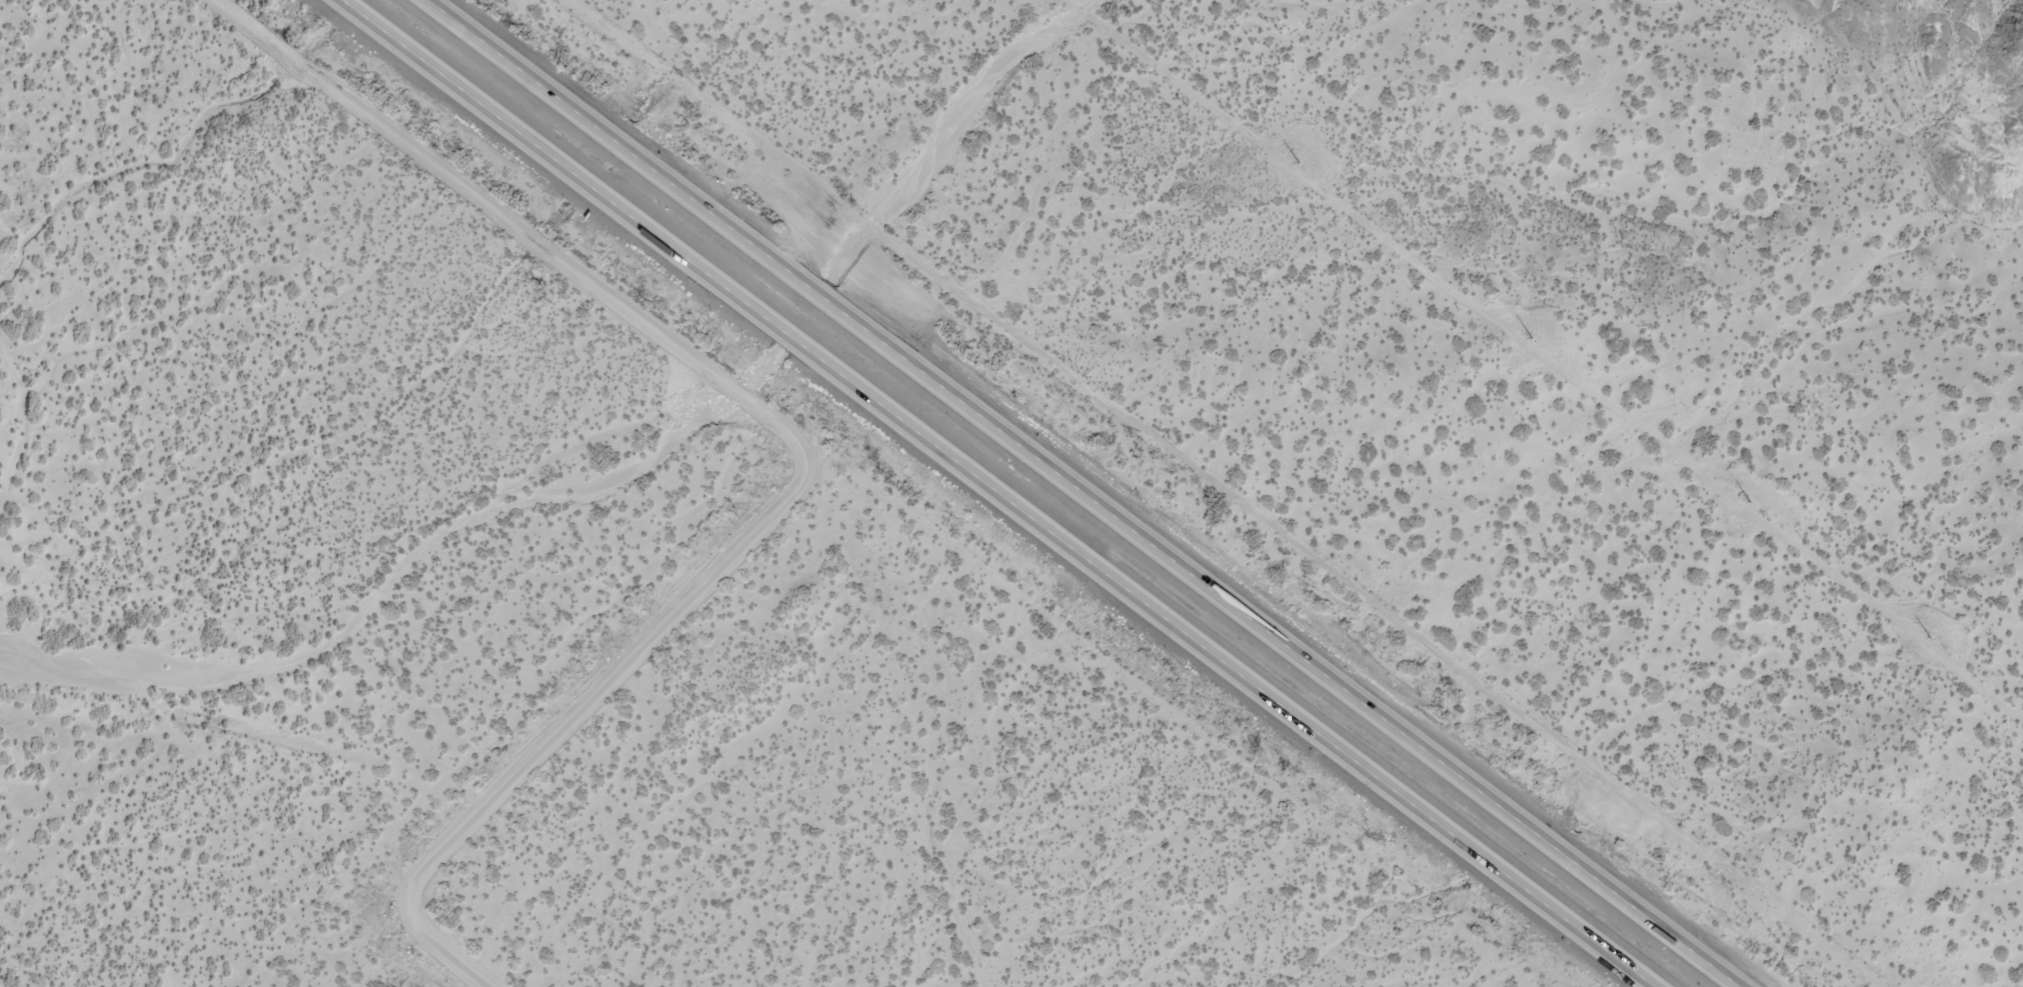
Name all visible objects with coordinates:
road: (796, 441)
road: (1079, 493)
road: (995, 494)

